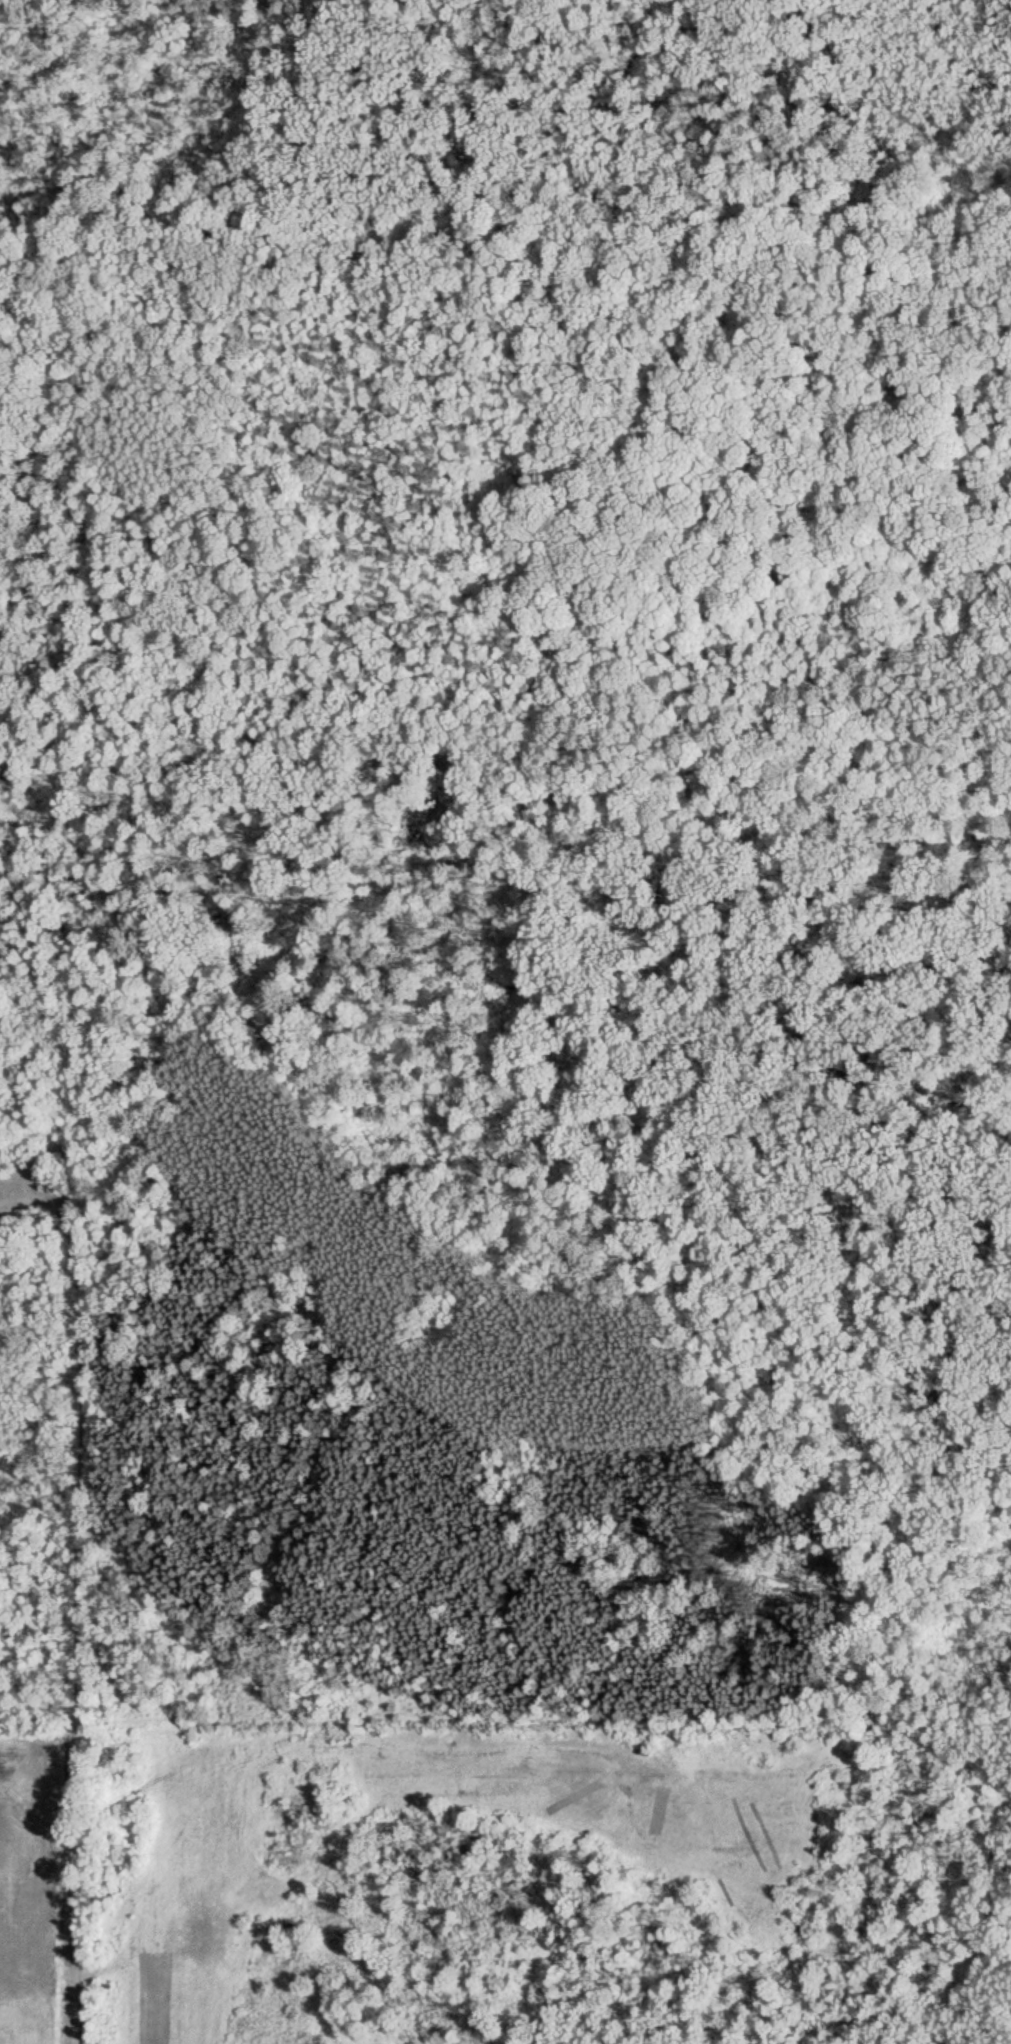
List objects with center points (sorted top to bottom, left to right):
road: (73, 1022)

